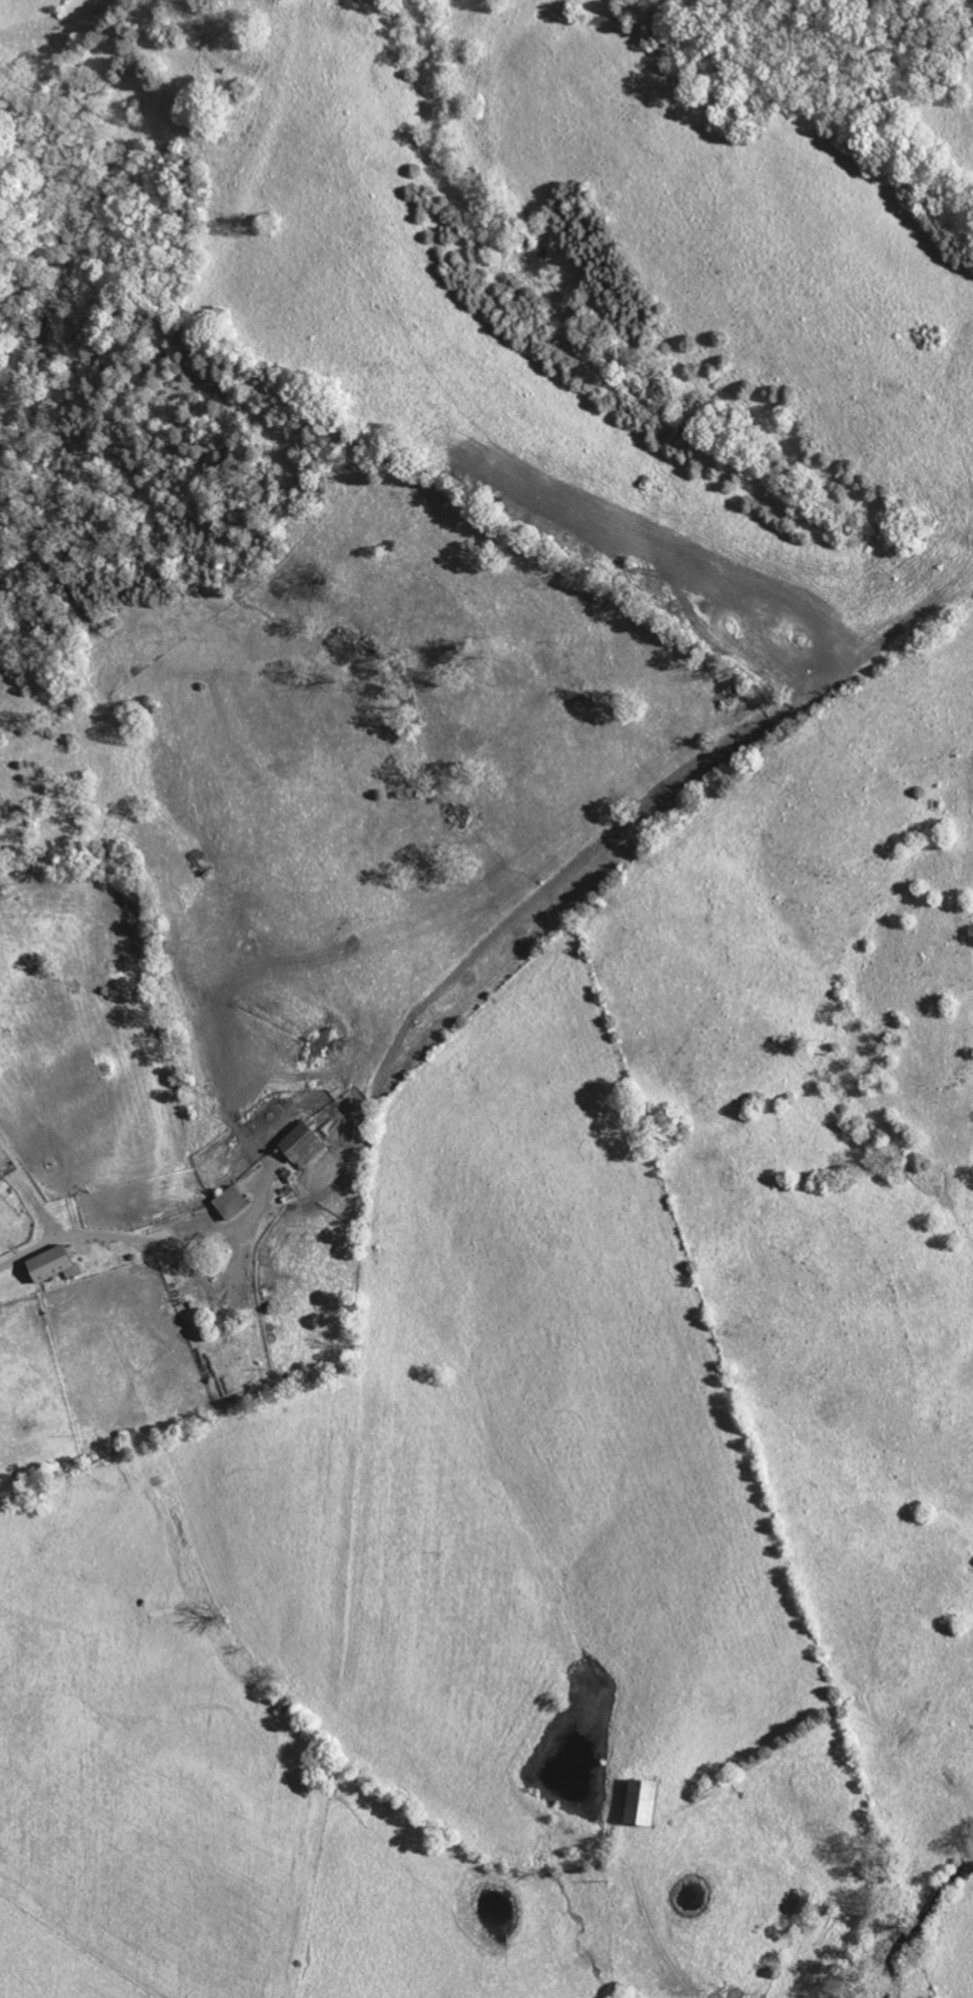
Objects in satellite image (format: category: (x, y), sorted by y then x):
building: (300, 1144)
building: (228, 1202)
road: (138, 1238)
building: (51, 1264)
building: (639, 1802)

